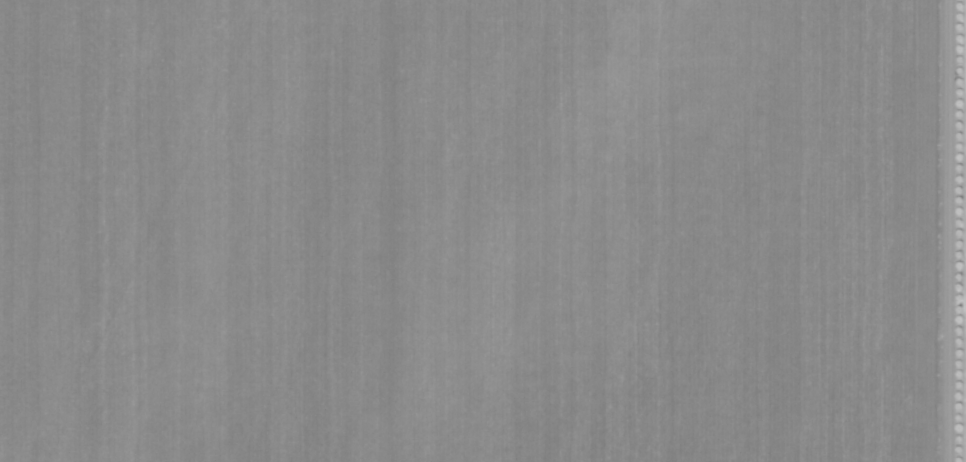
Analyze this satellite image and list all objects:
crop: (468, 230)

